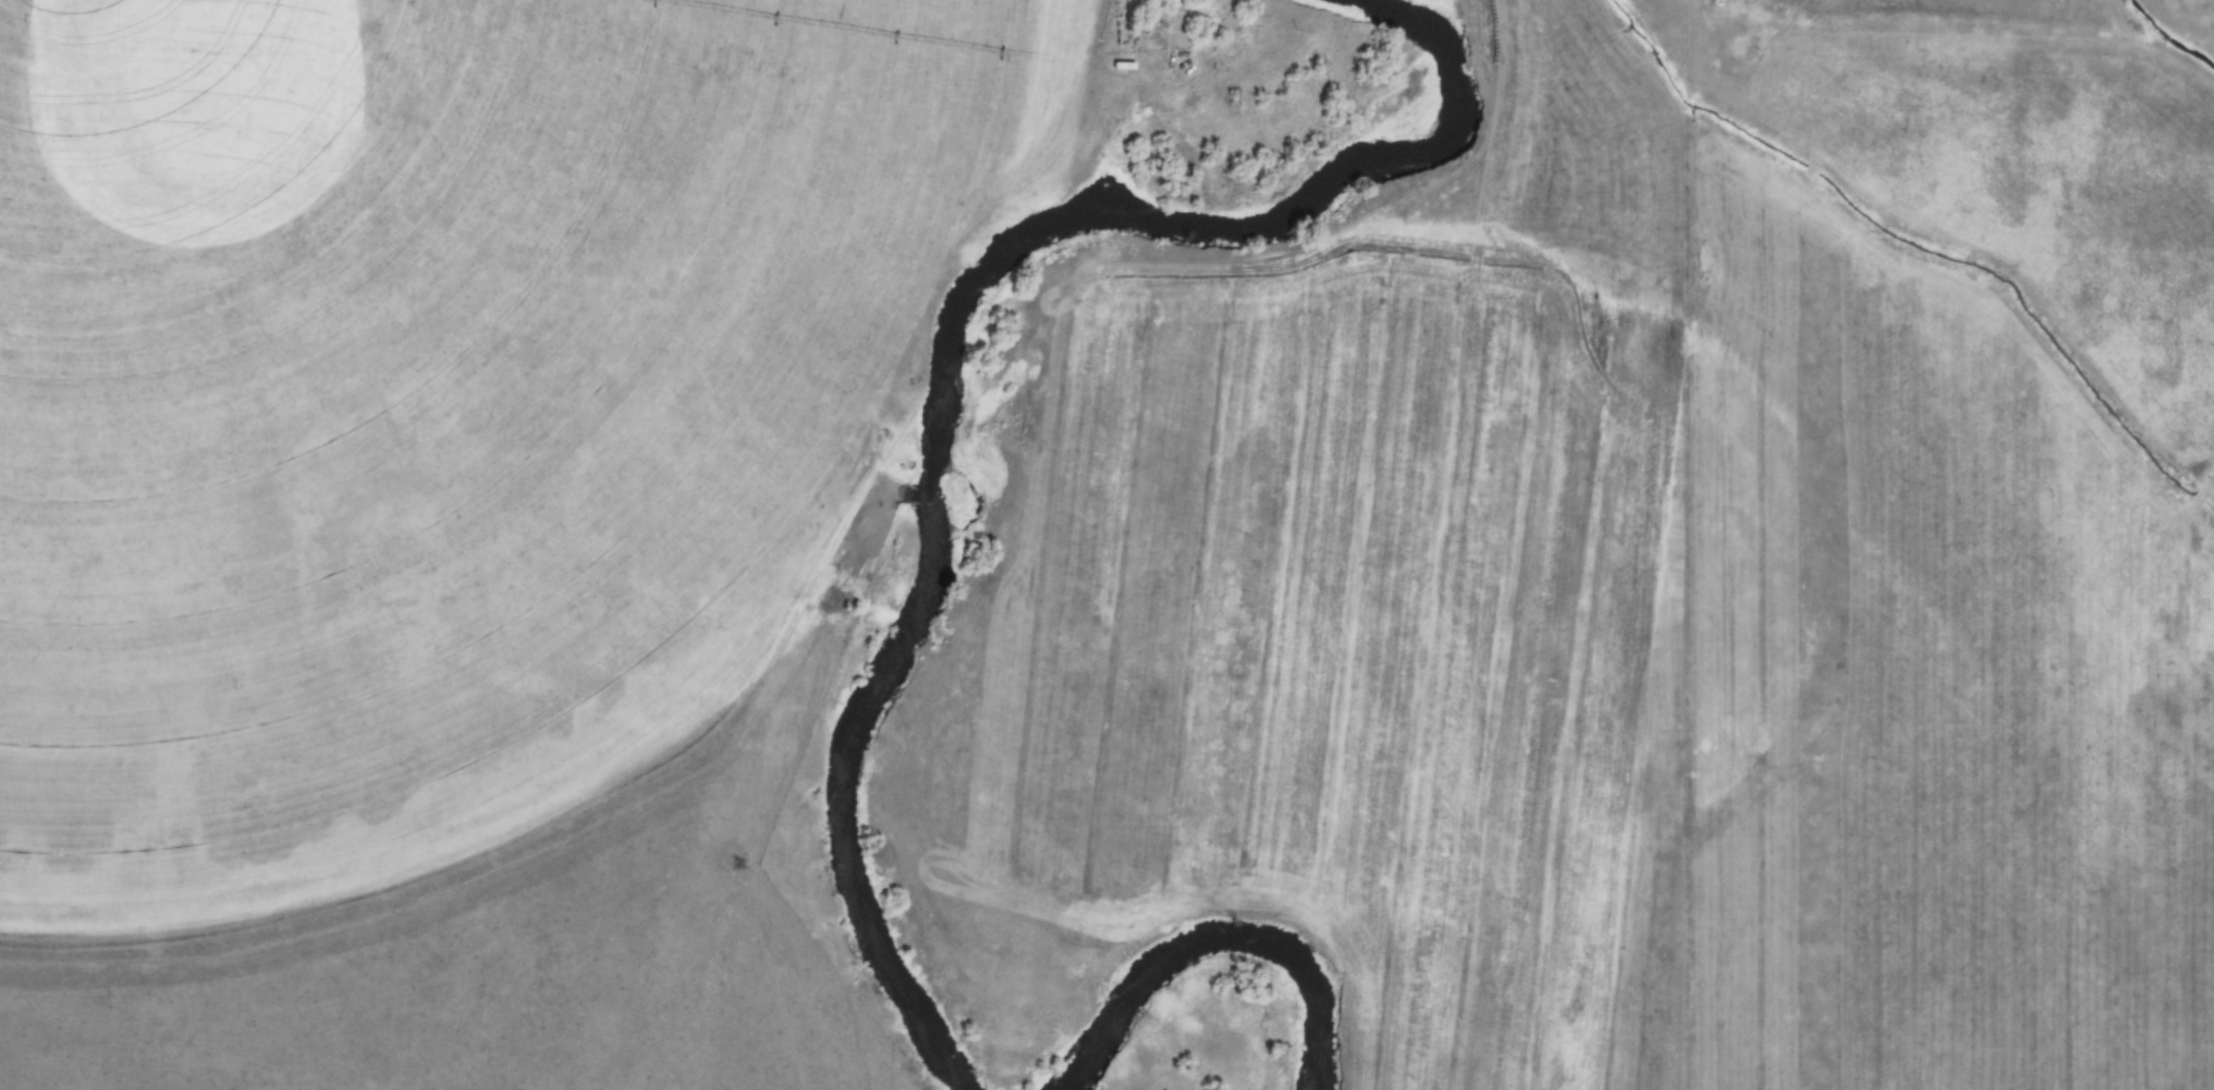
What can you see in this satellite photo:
airport runway: (272, 269)
river: (949, 350)
river: (1216, 947)

